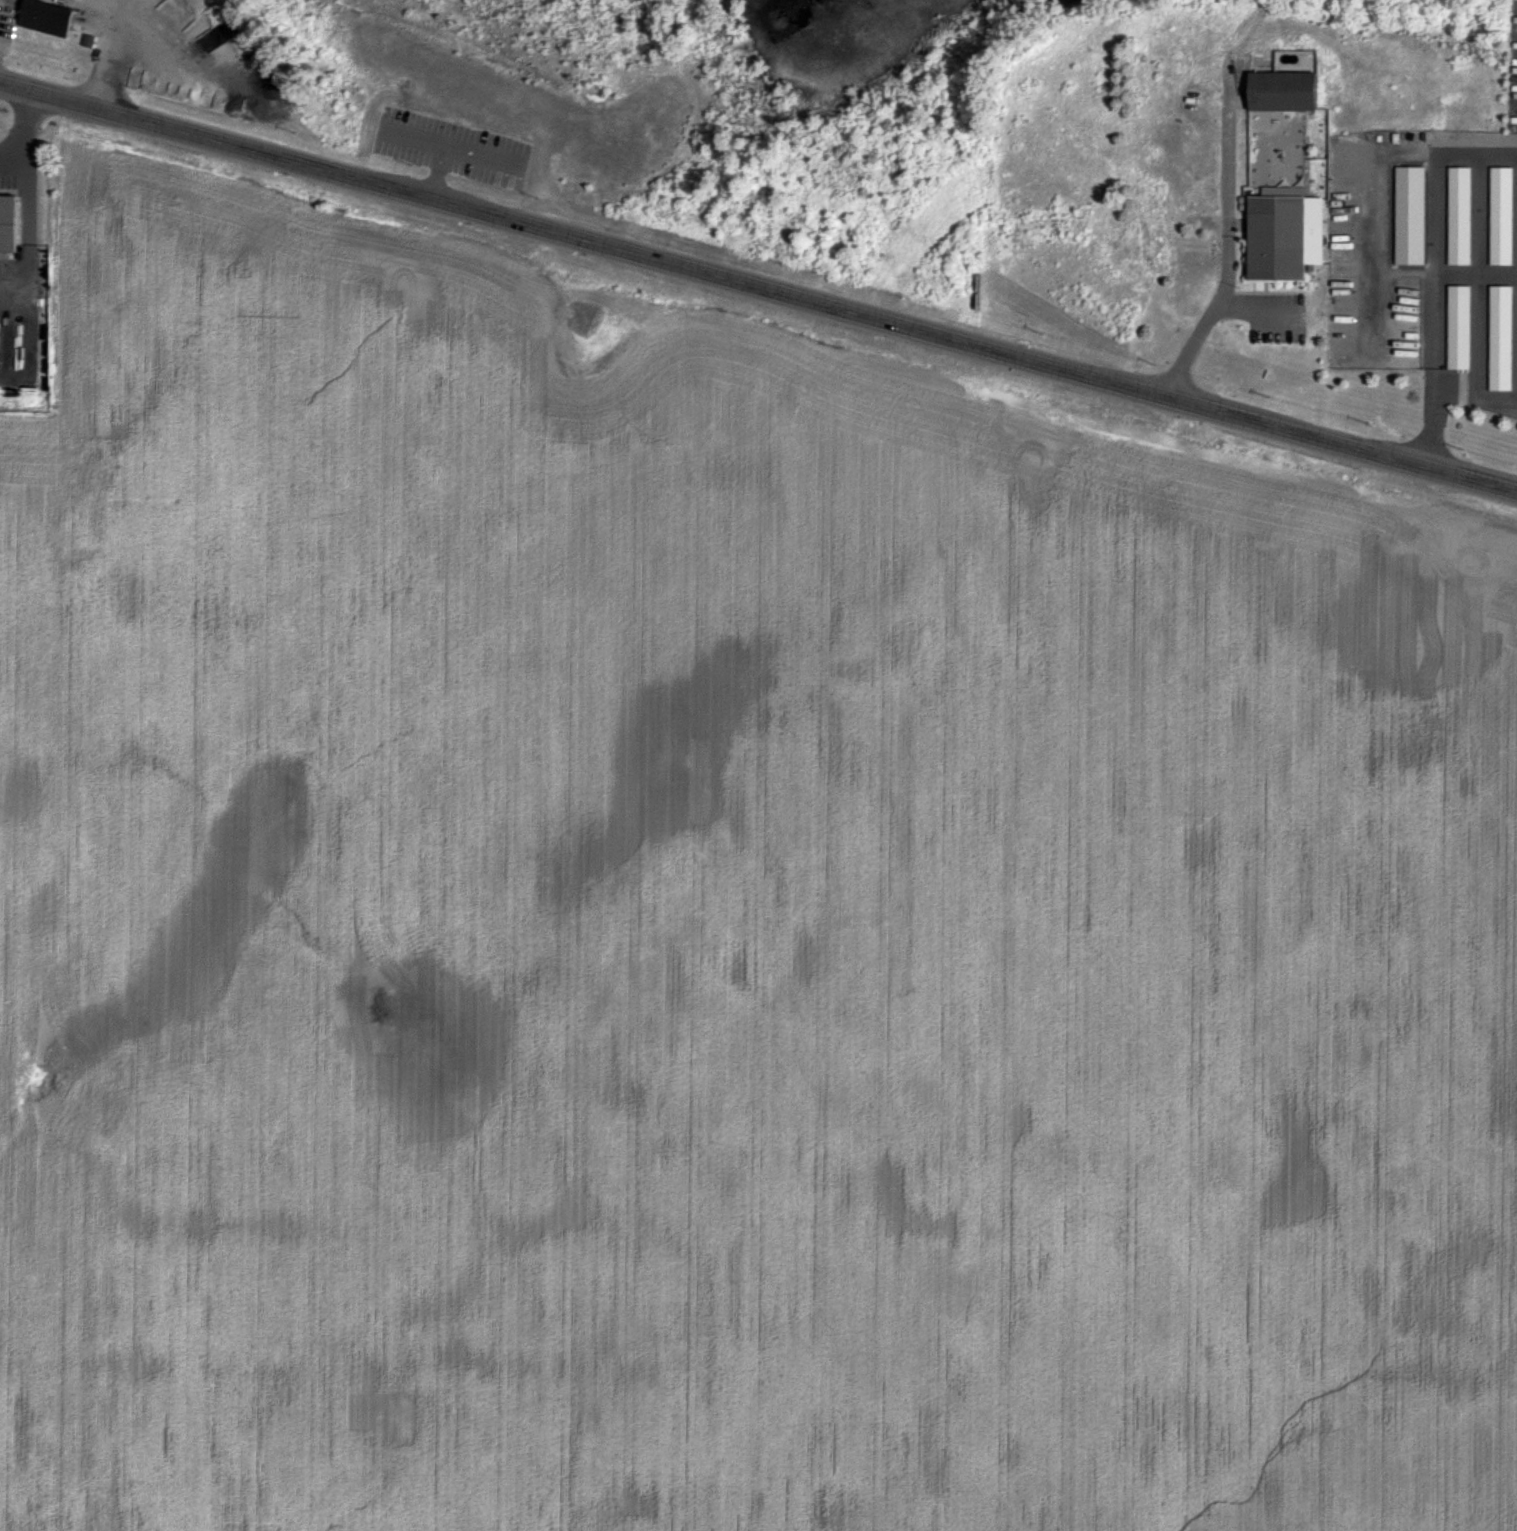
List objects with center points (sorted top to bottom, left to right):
building: (45, 18)
building: (85, 41)
building: (1281, 92)
road: (23, 135)
road: (450, 146)
road: (437, 172)
road: (1228, 193)
building: (1500, 215)
building: (1458, 217)
building: (6, 224)
building: (1276, 239)
road: (1435, 271)
road: (758, 287)
road: (1201, 327)
building: (1457, 328)
building: (1499, 339)
crop: (724, 911)

